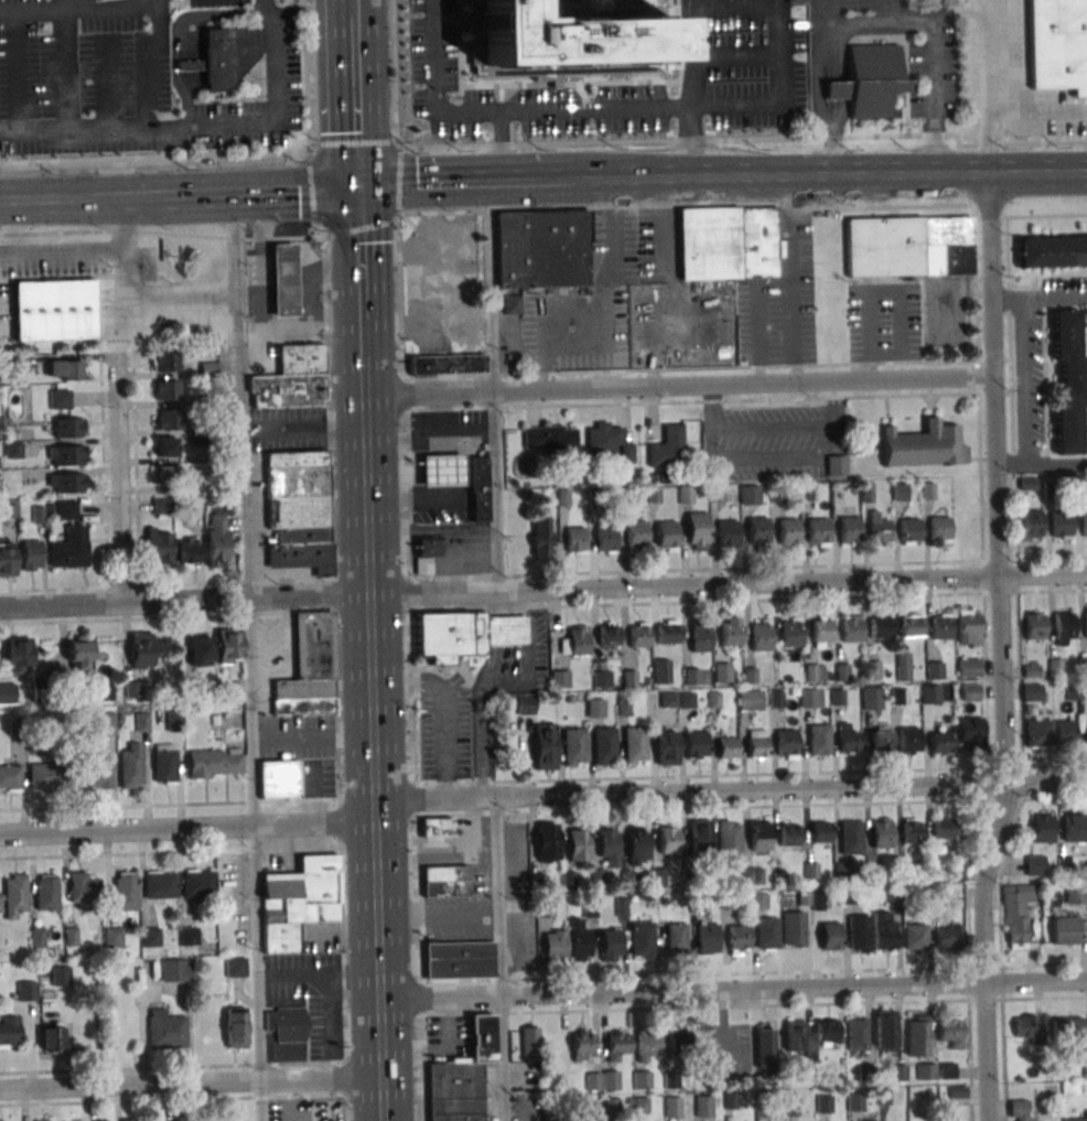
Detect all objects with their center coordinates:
building: (794, 2)
road: (97, 3)
road: (61, 4)
road: (349, 8)
road: (71, 9)
road: (922, 25)
building: (570, 36)
building: (1057, 43)
building: (227, 54)
road: (830, 54)
road: (983, 56)
road: (112, 71)
road: (390, 71)
road: (64, 73)
road: (18, 75)
road: (309, 79)
building: (871, 80)
road: (831, 91)
building: (1079, 91)
road: (352, 104)
road: (605, 109)
road: (1002, 111)
road: (280, 123)
road: (139, 132)
road: (749, 139)
road: (351, 142)
road: (832, 142)
road: (397, 144)
road: (690, 145)
road: (930, 148)
road: (499, 151)
road: (154, 157)
road: (399, 181)
road: (829, 183)
road: (549, 187)
road: (441, 190)
road: (310, 191)
traffic signals: (355, 192)
road: (259, 195)
road: (82, 203)
road: (395, 217)
road: (320, 228)
road: (359, 229)
building: (730, 244)
building: (908, 246)
building: (542, 249)
road: (60, 250)
building: (1052, 250)
road: (356, 255)
building: (282, 280)
road: (790, 282)
building: (443, 287)
road: (1052, 298)
road: (599, 299)
road: (176, 303)
building: (510, 303)
building: (54, 310)
road: (755, 319)
building: (467, 332)
road: (358, 335)
building: (300, 358)
building: (164, 362)
building: (446, 363)
building: (63, 369)
building: (208, 369)
building: (1068, 384)
road: (677, 387)
building: (286, 389)
building: (166, 390)
road: (492, 390)
building: (60, 399)
road: (1023, 400)
road: (115, 401)
building: (168, 419)
building: (68, 427)
road: (360, 435)
building: (550, 439)
road: (400, 440)
building: (607, 441)
building: (166, 446)
building: (667, 446)
building: (923, 446)
building: (65, 455)
building: (836, 465)
road: (1011, 466)
building: (439, 468)
building: (165, 473)
building: (65, 483)
road: (441, 484)
building: (476, 487)
building: (865, 491)
building: (927, 492)
building: (805, 493)
building: (898, 493)
building: (714, 494)
building: (776, 494)
building: (654, 495)
building: (685, 495)
building: (749, 495)
building: (623, 496)
building: (593, 497)
building: (562, 498)
building: (161, 507)
building: (65, 510)
building: (298, 511)
building: (1084, 522)
building: (1059, 524)
building: (1030, 525)
building: (696, 528)
road: (430, 529)
building: (939, 529)
building: (908, 530)
building: (756, 531)
building: (848, 531)
building: (879, 531)
building: (725, 532)
building: (817, 532)
building: (787, 533)
building: (540, 536)
building: (666, 536)
building: (635, 537)
building: (604, 538)
building: (216, 540)
building: (574, 540)
building: (158, 547)
building: (71, 548)
building: (186, 550)
building: (424, 552)
building: (30, 554)
building: (7, 559)
road: (727, 584)
road: (183, 600)
building: (967, 625)
building: (1086, 625)
building: (1032, 626)
building: (1063, 626)
building: (910, 627)
building: (880, 628)
building: (939, 628)
building: (820, 632)
building: (851, 632)
building: (465, 633)
building: (730, 633)
building: (666, 634)
building: (790, 635)
building: (607, 636)
building: (760, 636)
building: (638, 637)
building: (699, 639)
building: (577, 644)
building: (228, 646)
building: (140, 650)
building: (200, 650)
building: (78, 651)
road: (1002, 651)
building: (17, 654)
road: (248, 658)
building: (310, 666)
building: (902, 666)
building: (968, 667)
building: (661, 670)
building: (934, 670)
building: (722, 671)
building: (814, 672)
building: (690, 677)
building: (601, 679)
building: (559, 680)
building: (628, 680)
building: (132, 689)
building: (103, 691)
building: (1073, 691)
building: (7, 692)
building: (1031, 692)
building: (969, 693)
building: (929, 694)
building: (900, 696)
building: (869, 697)
building: (808, 698)
building: (775, 699)
building: (713, 700)
building: (667, 701)
building: (686, 701)
building: (750, 701)
building: (524, 704)
road: (441, 707)
building: (622, 707)
building: (595, 708)
building: (173, 721)
building: (105, 722)
building: (141, 722)
building: (1086, 731)
building: (1064, 732)
building: (970, 733)
building: (1037, 733)
building: (818, 739)
building: (848, 739)
building: (908, 740)
building: (878, 741)
building: (785, 742)
building: (939, 742)
building: (756, 743)
building: (633, 745)
building: (693, 745)
building: (543, 746)
building: (602, 746)
building: (572, 747)
building: (665, 747)
building: (727, 747)
building: (164, 763)
building: (214, 764)
building: (130, 766)
building: (96, 773)
road: (793, 774)
building: (50, 775)
building: (10, 777)
building: (276, 778)
road: (729, 790)
road: (373, 818)
road: (338, 823)
building: (437, 826)
building: (943, 827)
building: (1043, 828)
building: (1074, 828)
road: (186, 830)
building: (913, 830)
building: (820, 831)
building: (881, 832)
building: (786, 833)
building: (699, 836)
building: (758, 836)
building: (850, 837)
building: (729, 839)
building: (547, 842)
building: (668, 842)
building: (578, 844)
building: (607, 845)
building: (636, 845)
building: (1035, 864)
building: (752, 875)
building: (446, 881)
building: (198, 883)
building: (160, 884)
building: (83, 887)
building: (126, 891)
building: (46, 892)
building: (1075, 895)
building: (13, 896)
building: (298, 901)
building: (729, 901)
building: (548, 908)
building: (1016, 914)
building: (793, 929)
building: (1065, 929)
building: (884, 930)
building: (859, 931)
building: (767, 933)
building: (915, 935)
building: (189, 936)
building: (829, 936)
building: (949, 936)
building: (114, 937)
building: (676, 937)
building: (579, 939)
building: (642, 939)
building: (707, 939)
building: (738, 939)
building: (555, 945)
building: (611, 945)
road: (497, 959)
building: (460, 960)
building: (175, 970)
building: (61, 977)
road: (732, 989)
building: (25, 990)
building: (287, 1024)
building: (1025, 1025)
building: (1067, 1027)
building: (165, 1028)
building: (235, 1030)
building: (884, 1031)
building: (9, 1032)
building: (950, 1033)
building: (809, 1034)
building: (858, 1034)
building: (917, 1035)
building: (52, 1038)
building: (483, 1038)
building: (530, 1042)
building: (678, 1043)
building: (616, 1044)
building: (582, 1045)
building: (647, 1045)
building: (764, 1049)
building: (1085, 1067)
building: (927, 1071)
building: (602, 1079)
building: (642, 1079)
building: (670, 1080)
road: (190, 1081)
building: (455, 1091)
building: (855, 1102)
building: (824, 1103)
building: (641, 1104)
building: (703, 1104)
building: (612, 1107)
building: (672, 1107)
building: (1018, 1110)
building: (177, 1119)
building: (1075, 1119)
building: (43, 1120)
building: (104, 1120)
building: (130, 1120)
building: (864, 1120)

